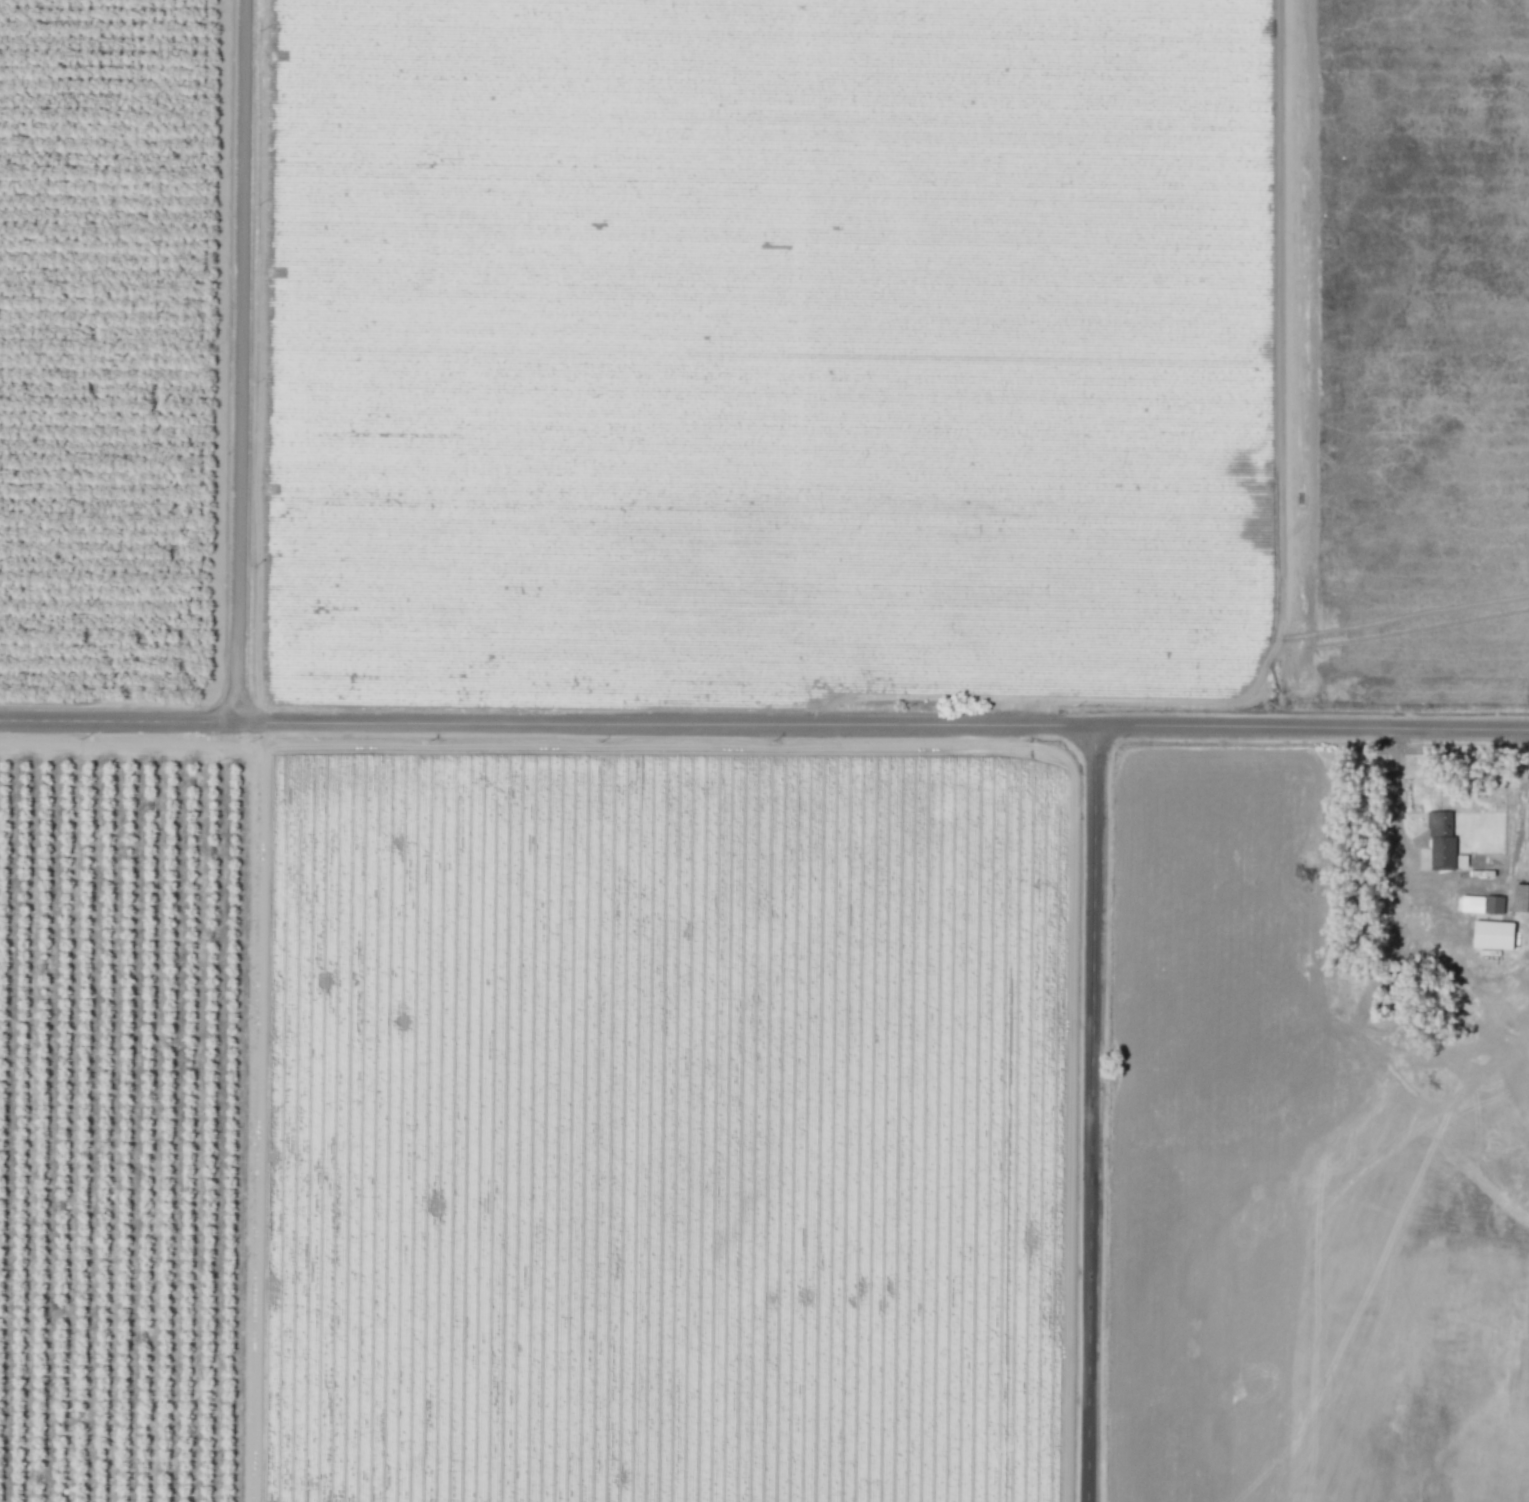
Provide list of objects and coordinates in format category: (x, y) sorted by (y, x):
road: (230, 358)
road: (1279, 593)
road: (764, 719)
building: (1446, 852)
road: (1445, 878)
building: (1521, 897)
building: (1491, 922)
road: (251, 1110)
road: (1087, 1112)

